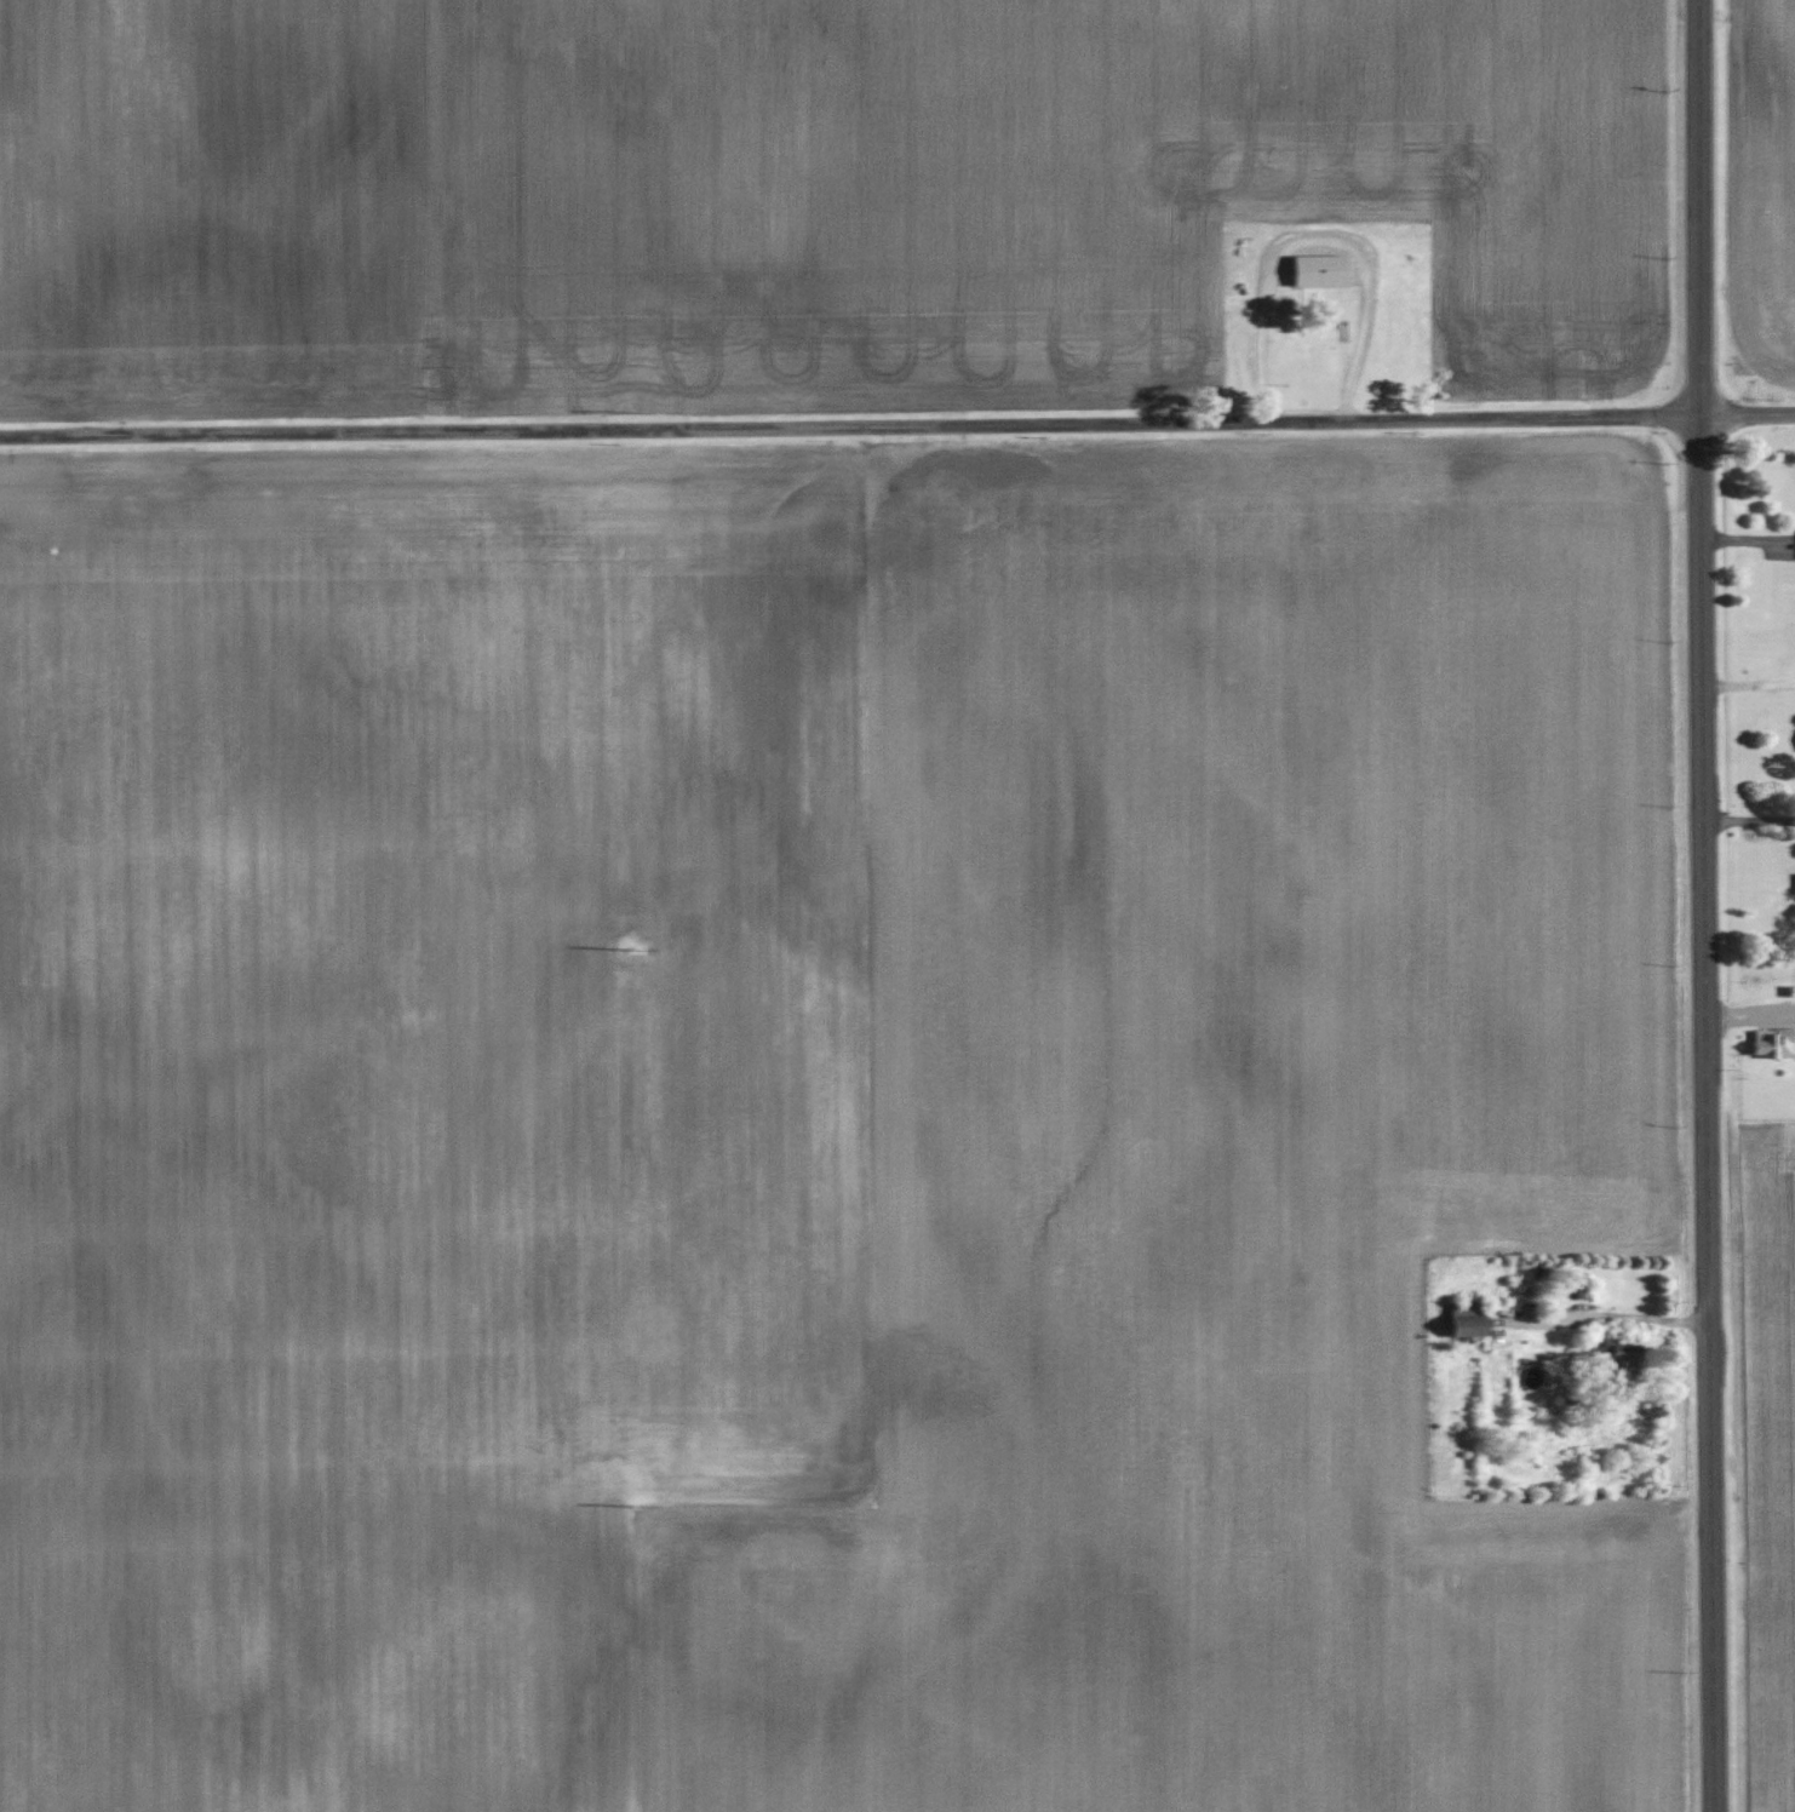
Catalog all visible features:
building: (1320, 270)
road: (897, 432)
road: (1702, 906)
building: (1774, 1043)
building: (1469, 1320)
building: (1622, 1355)

